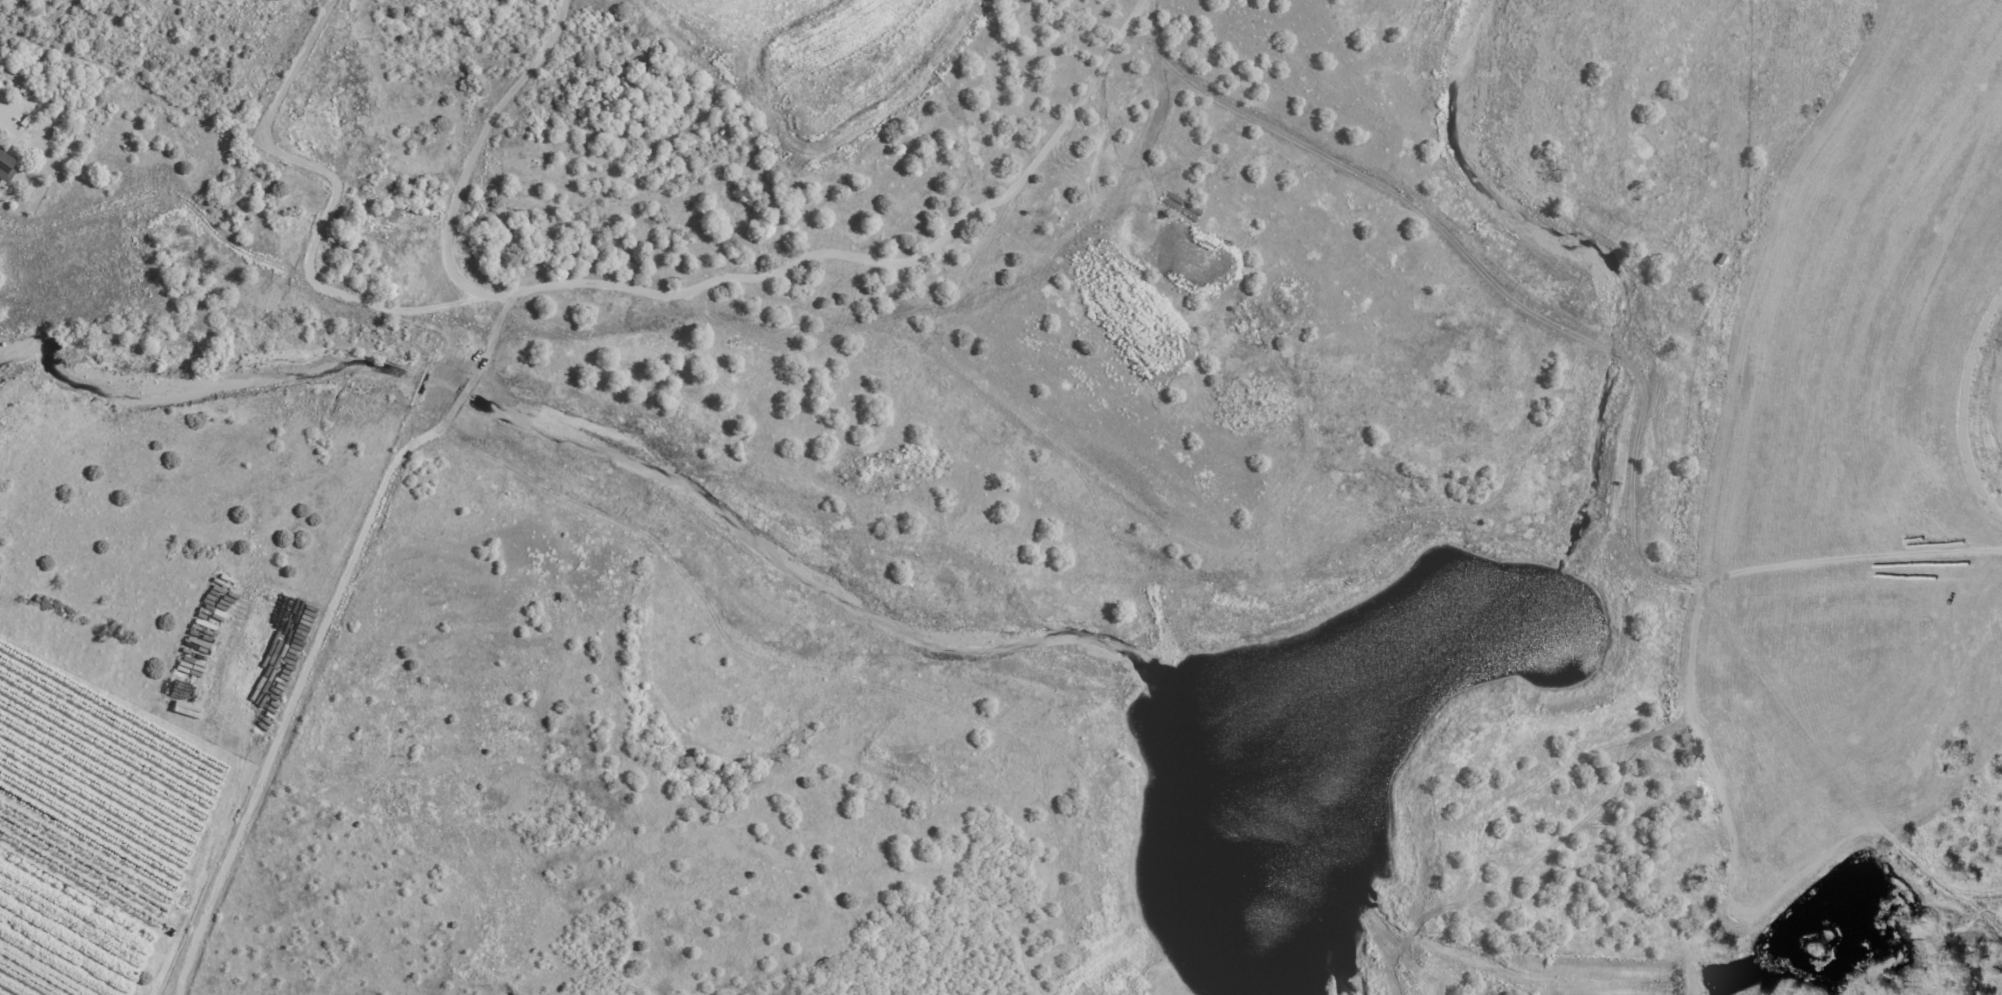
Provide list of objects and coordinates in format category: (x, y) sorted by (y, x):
building: (27, 120)
building: (9, 168)

